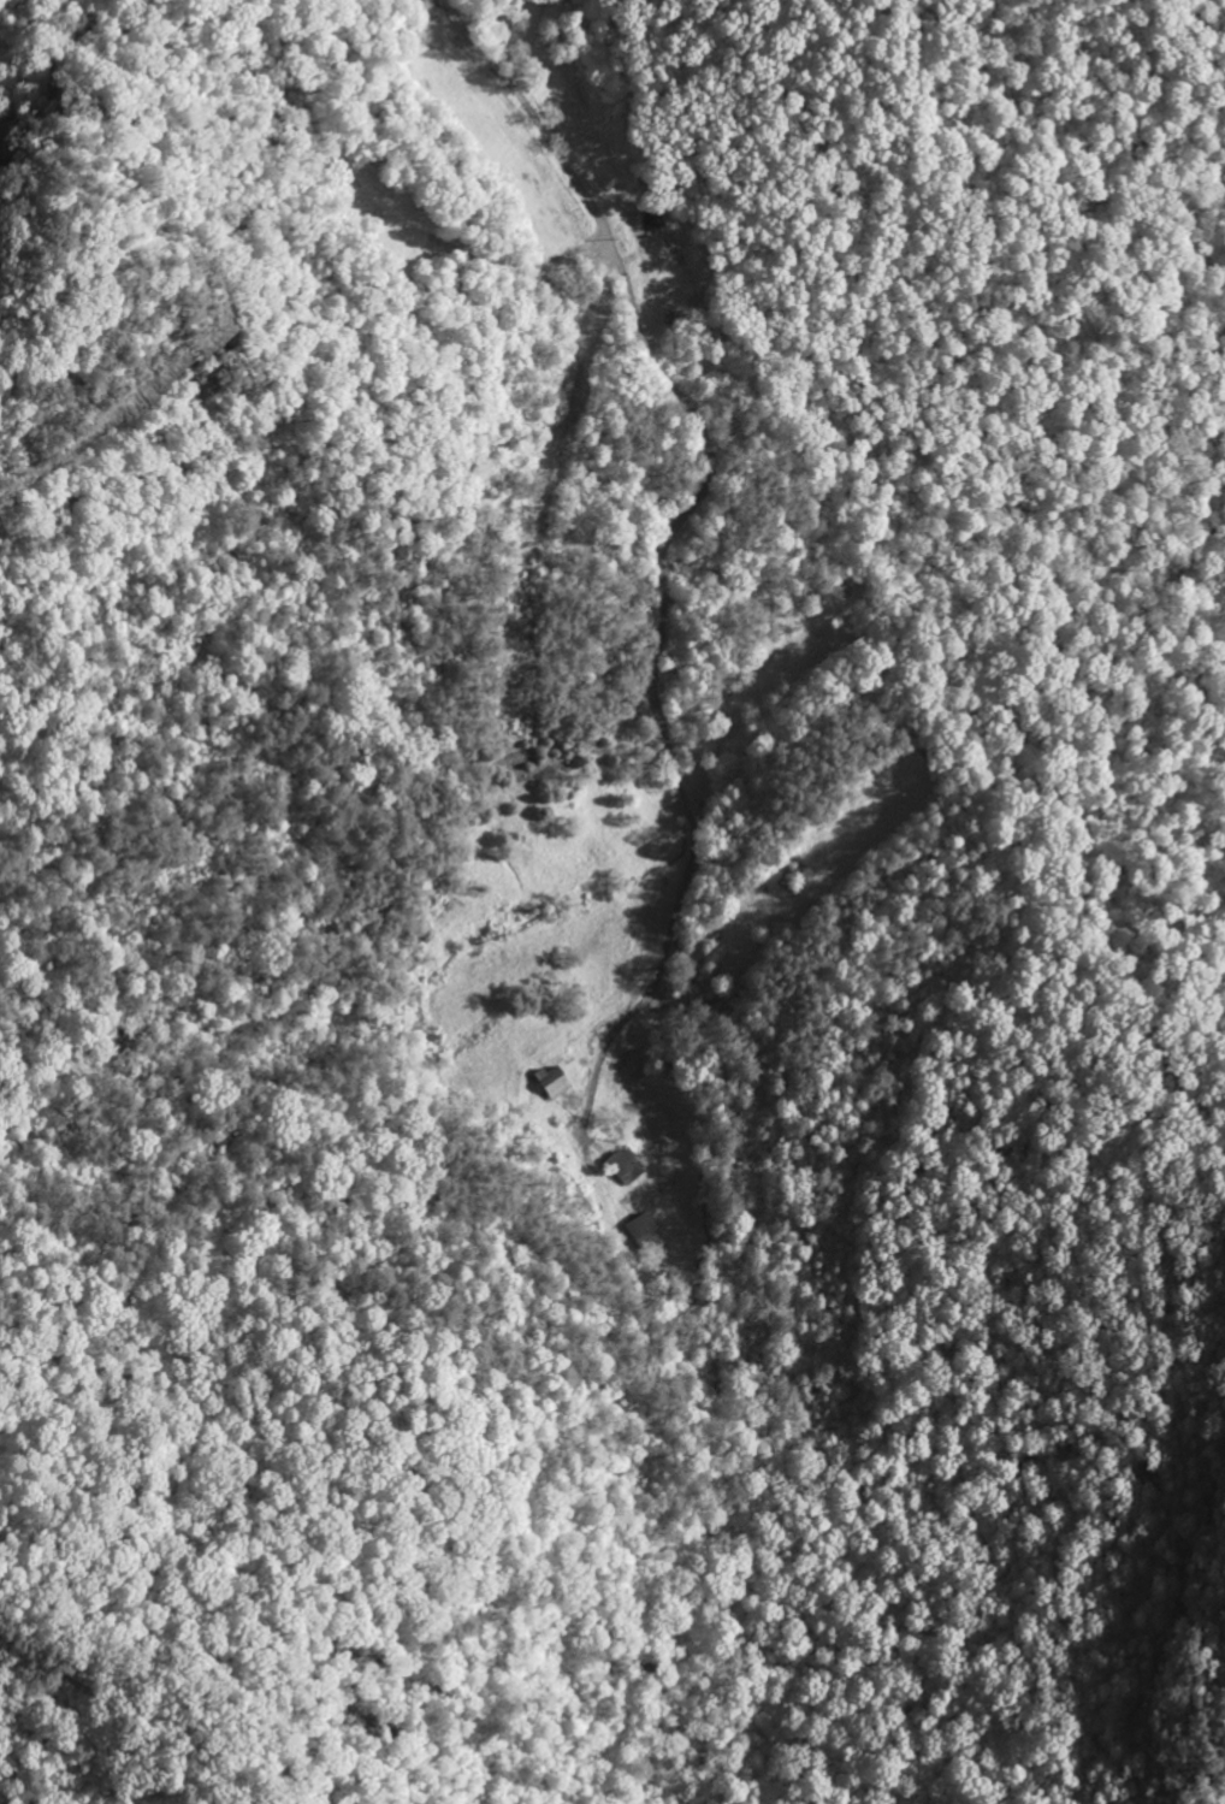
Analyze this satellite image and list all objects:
road: (637, 324)
road: (936, 542)
road: (696, 840)
building: (554, 1081)
building: (645, 1229)

